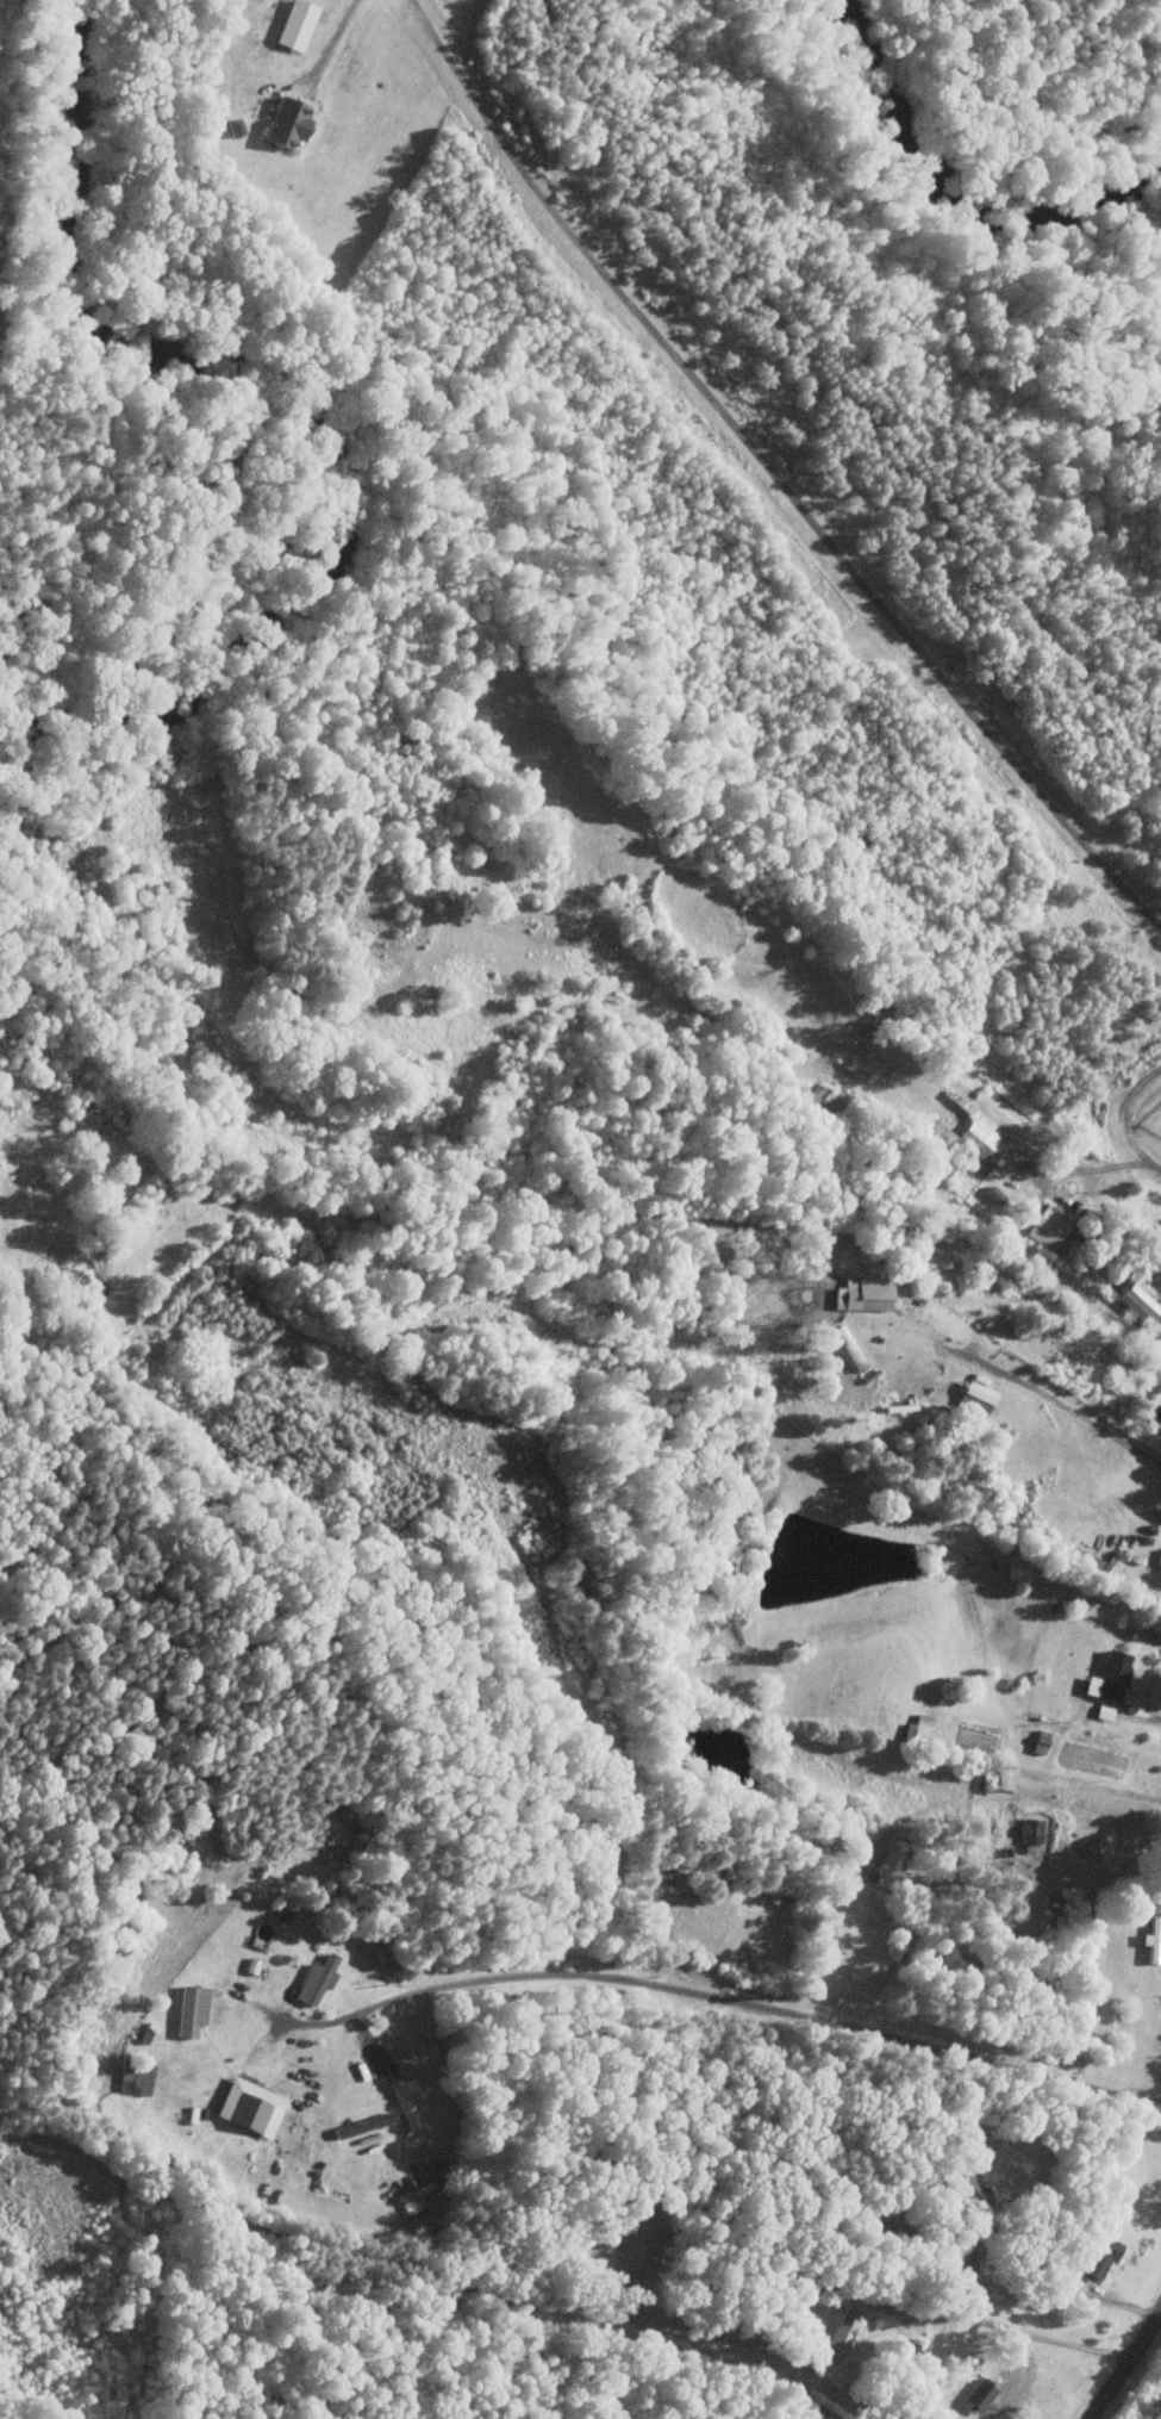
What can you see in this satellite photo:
road: (337, 33)
building: (285, 123)
road: (772, 474)
road: (1124, 1118)
building: (981, 1143)
road: (1059, 1176)
building: (1048, 1227)
building: (863, 1293)
building: (1140, 1301)
building: (975, 1397)
road: (1060, 1403)
building: (1109, 1677)
road: (1154, 1709)
building: (918, 1729)
road: (1078, 1786)
road: (1160, 1903)
building: (316, 1979)
road: (720, 1997)
building: (191, 2010)
building: (141, 2078)
building: (249, 2107)
building: (362, 2125)
building: (960, 2190)
building: (1101, 2257)
road: (1054, 2293)
road: (1023, 2332)
building: (841, 2334)
road: (1125, 2364)
building: (978, 2395)
road: (818, 2407)

